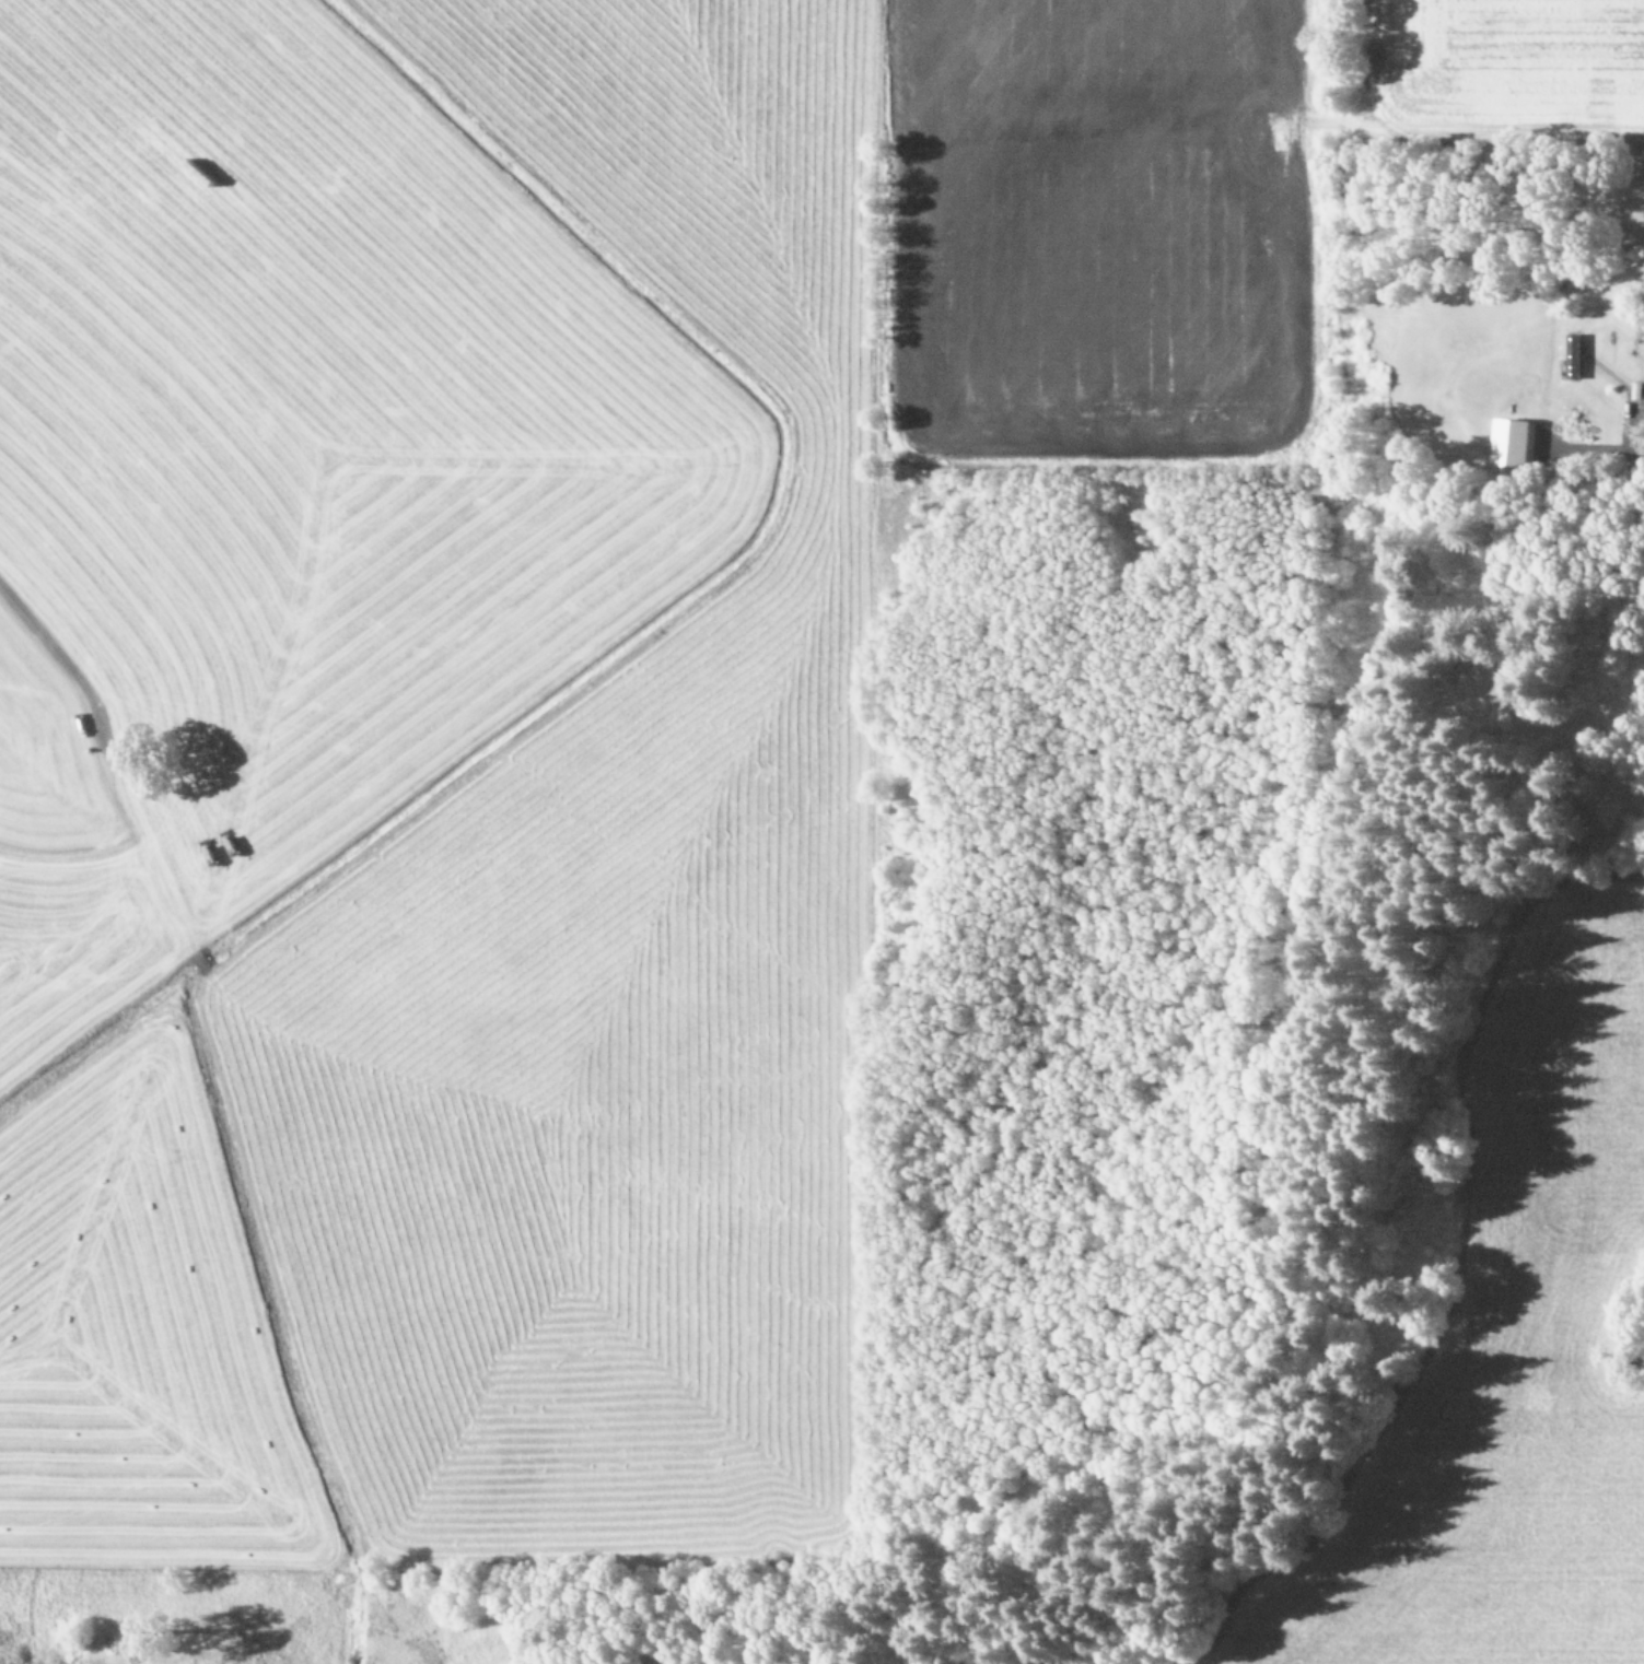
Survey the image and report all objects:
building: (1571, 354)
building: (1508, 441)
crop: (585, 680)
crop: (1494, 1358)

